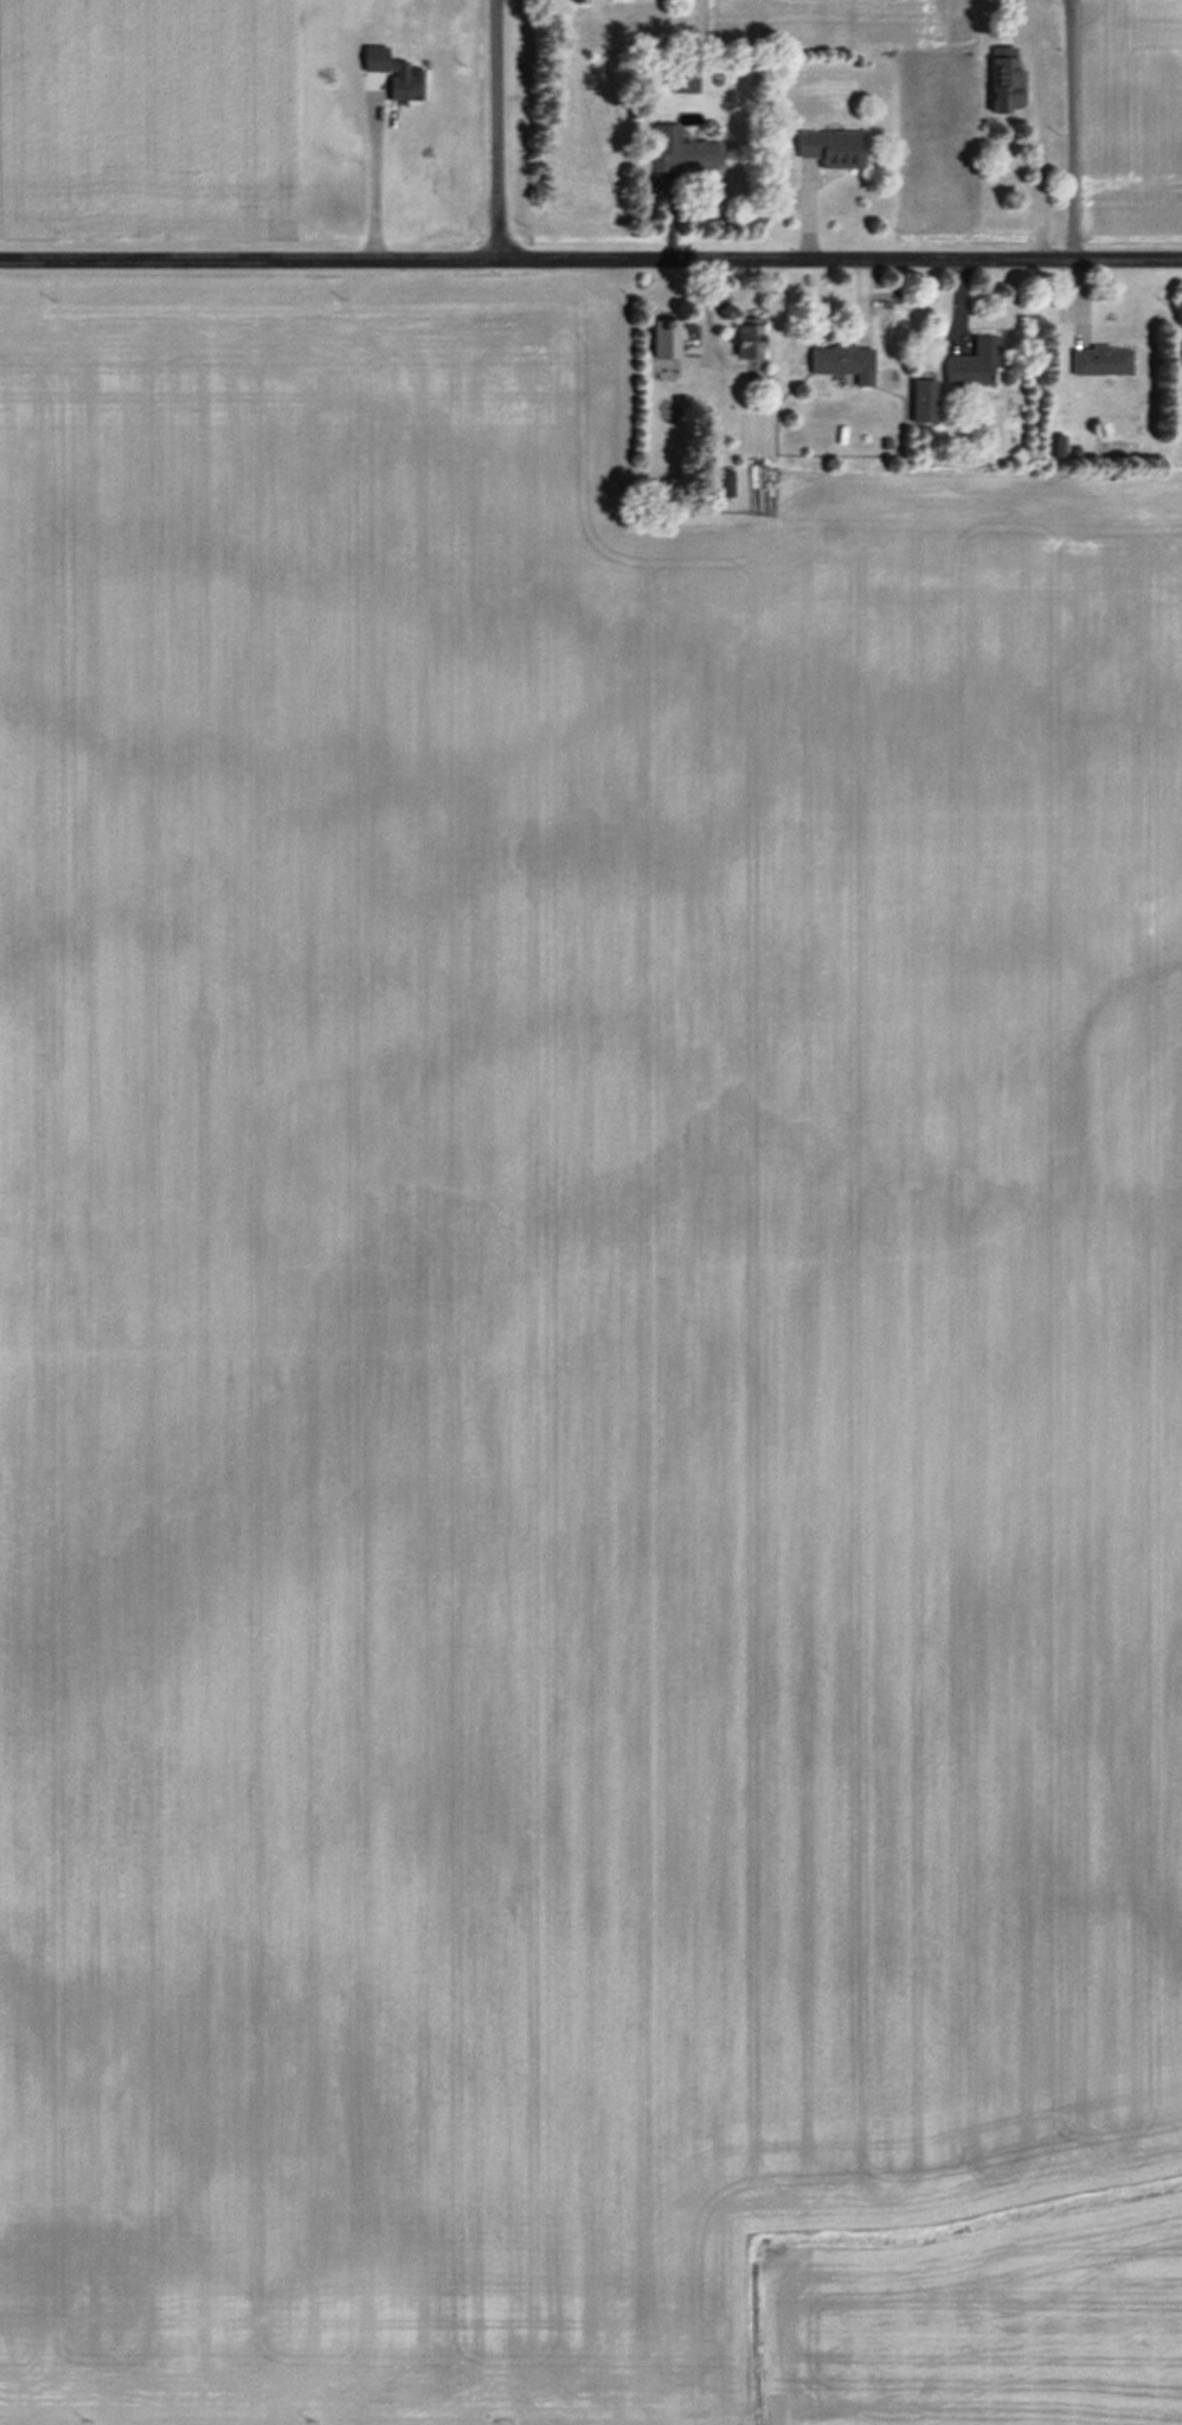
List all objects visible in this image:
building: (1004, 79)
road: (495, 130)
building: (829, 147)
building: (680, 152)
road: (590, 258)
building: (746, 338)
building: (662, 339)
building: (1100, 360)
building: (841, 361)
building: (972, 364)
building: (921, 401)
building: (1058, 446)
building: (721, 482)

